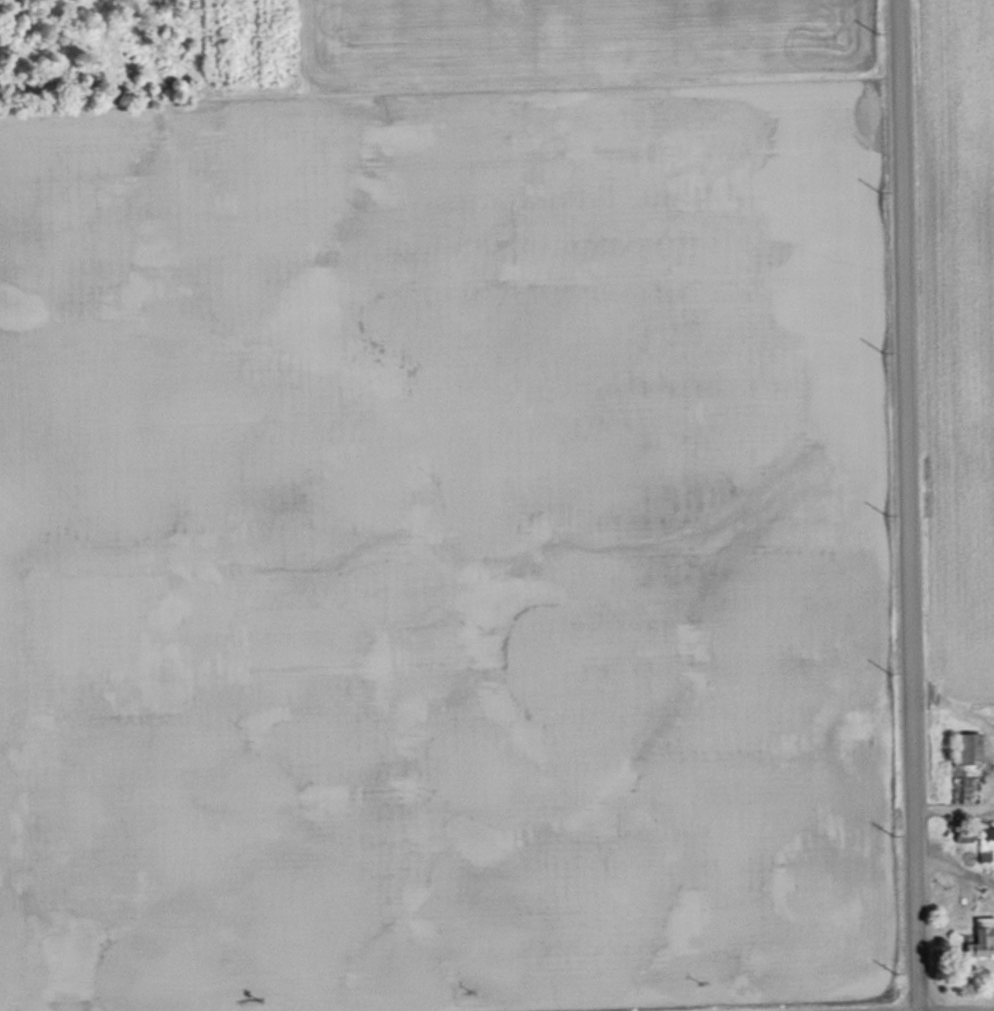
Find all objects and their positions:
road: (903, 505)
building: (966, 748)
building: (985, 833)
building: (981, 937)

